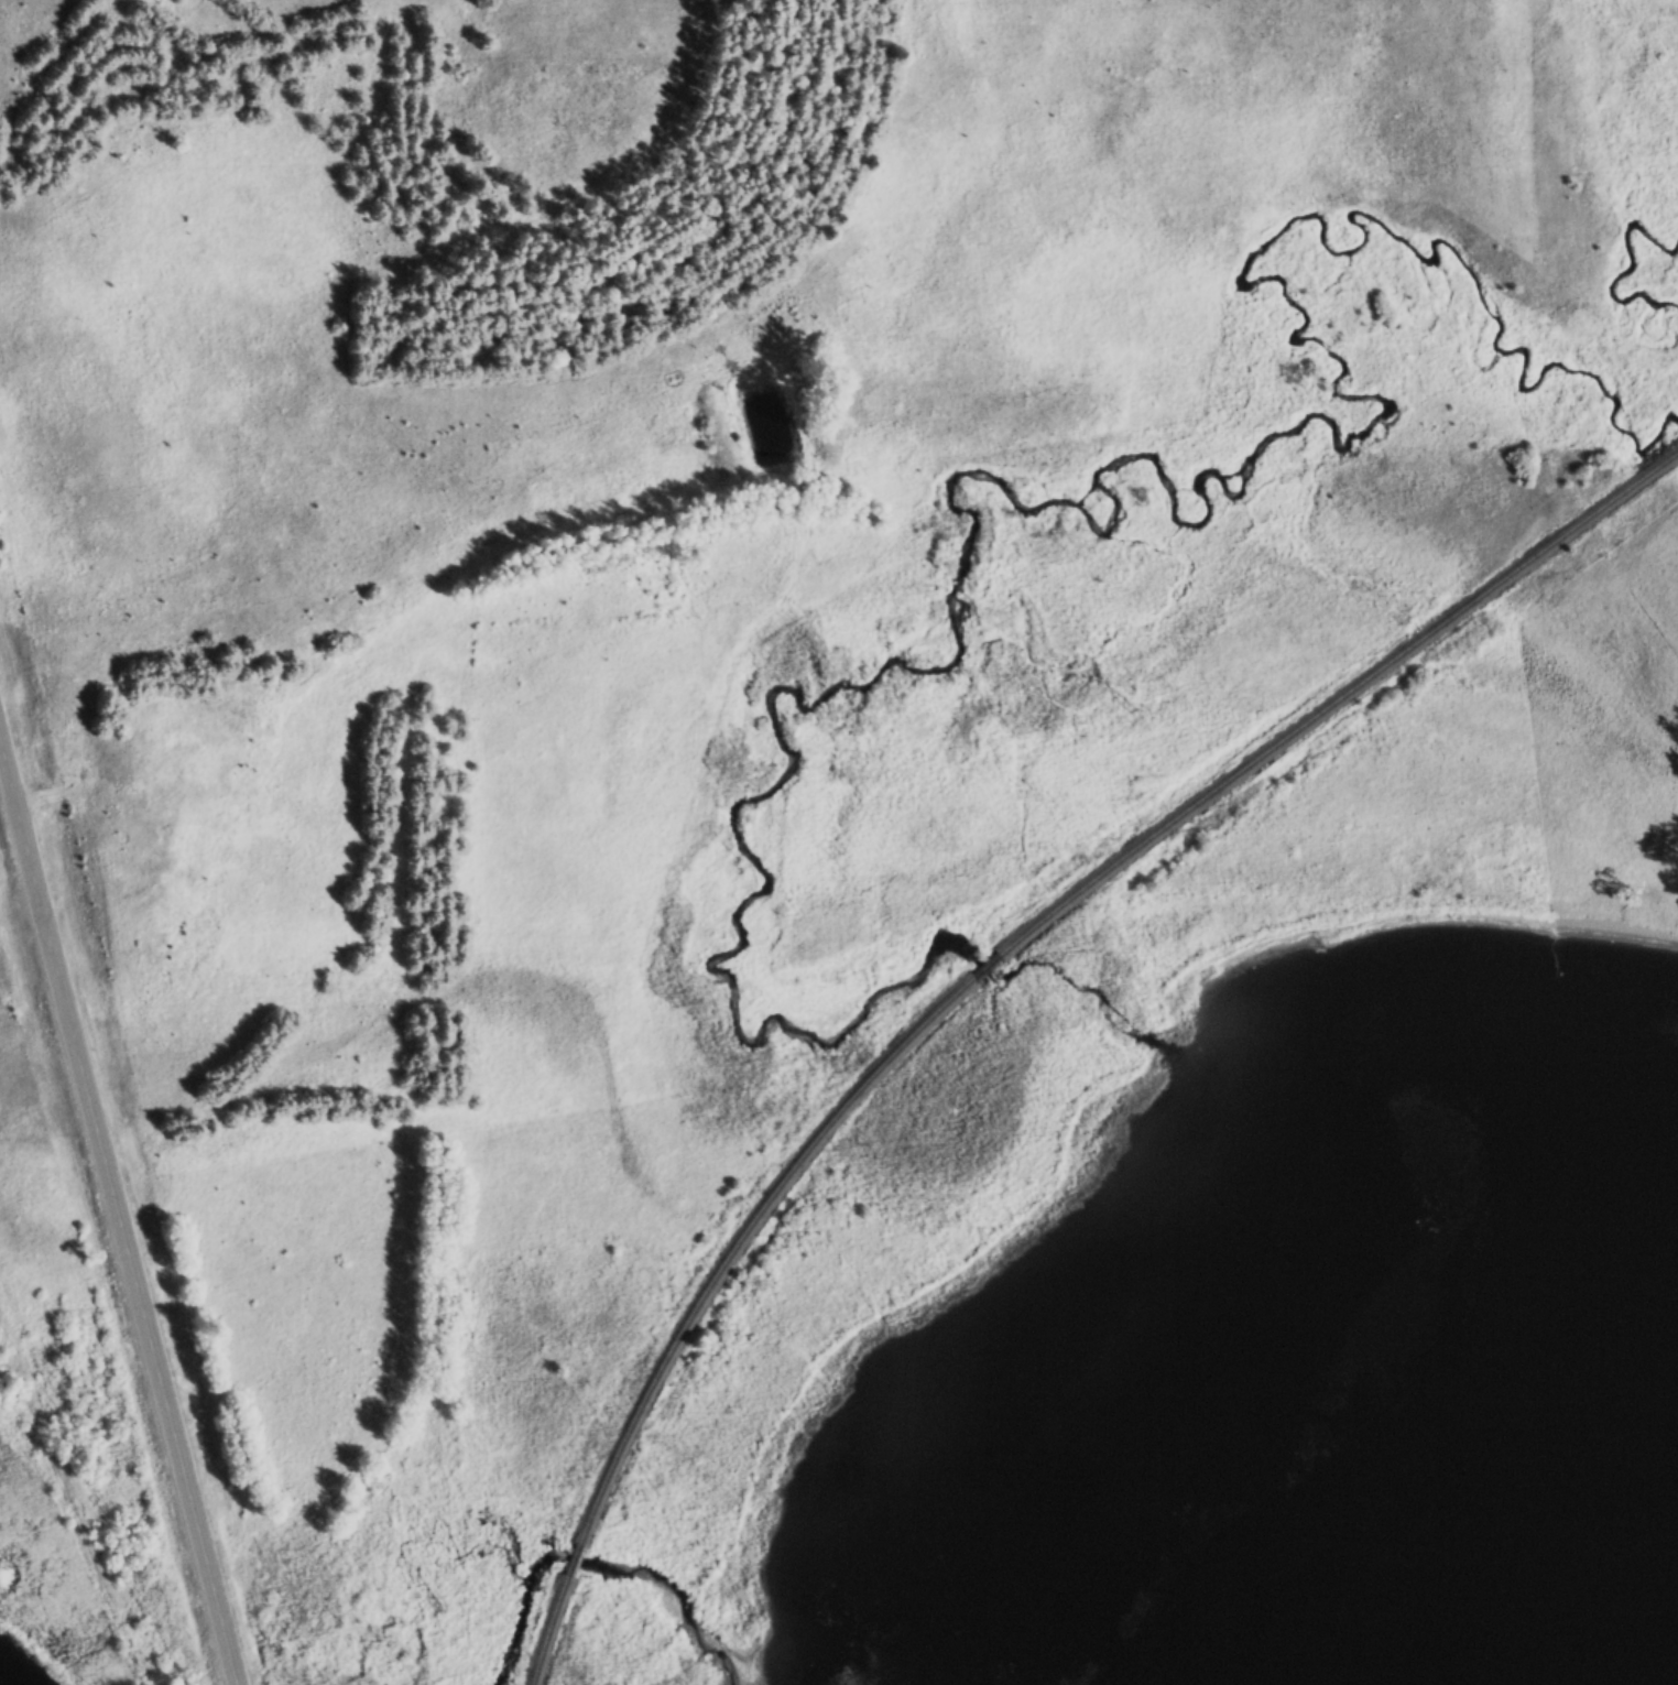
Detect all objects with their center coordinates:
river: (1623, 289)
river: (976, 496)
railway: (1039, 915)
road: (119, 1199)
river: (1428, 1336)
railway: (576, 1567)
river: (522, 1580)
railway: (554, 1634)

